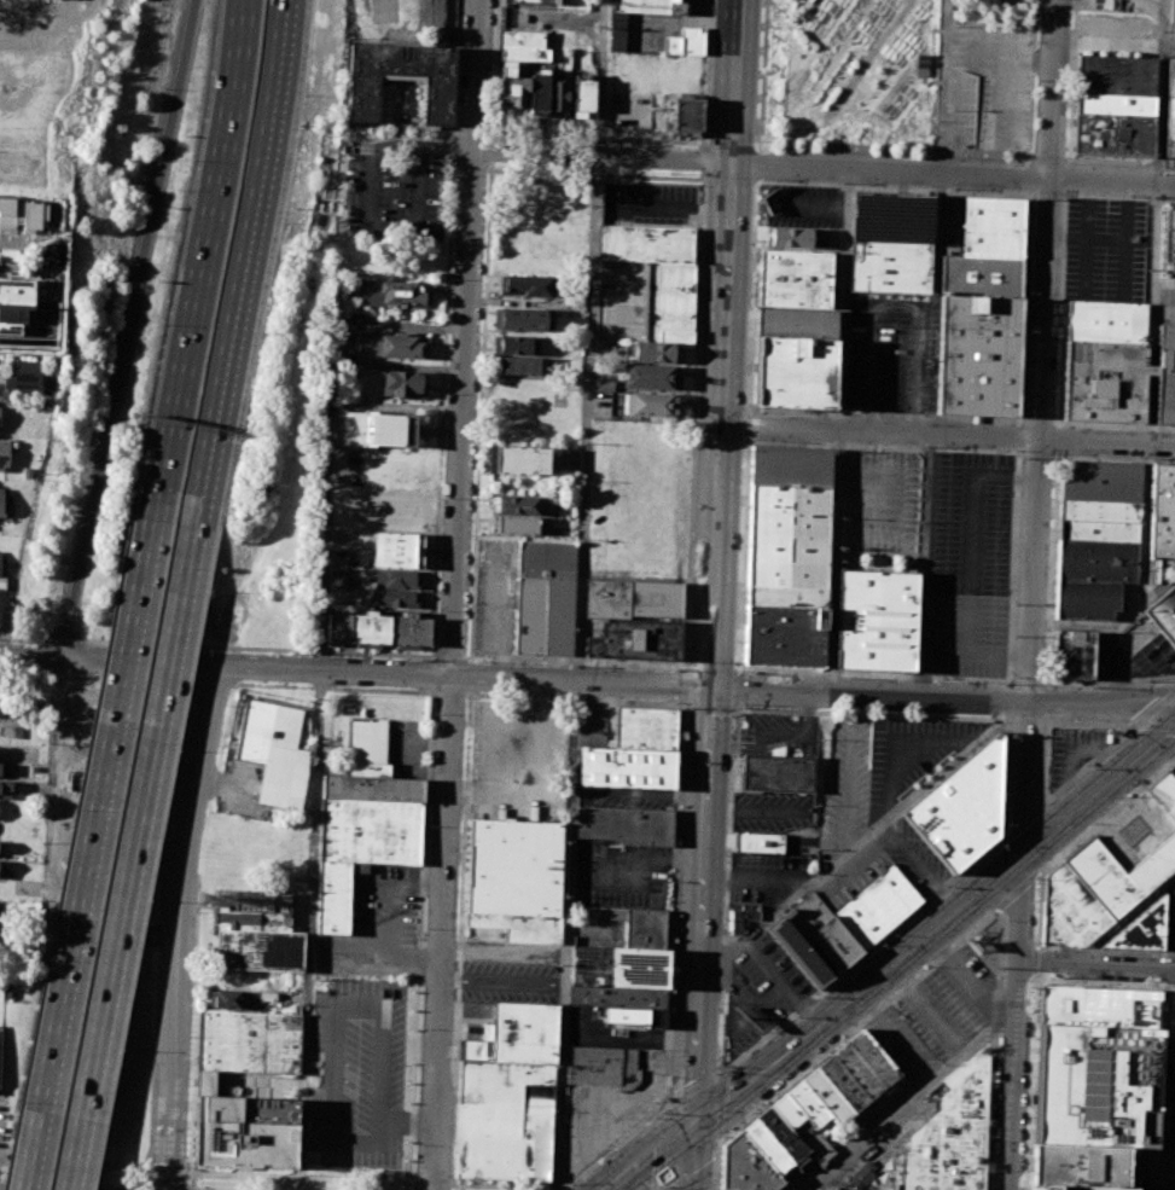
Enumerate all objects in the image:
building: (535, 1)
road: (1016, 1)
building: (655, 6)
building: (1173, 11)
parking lot: (1113, 23)
road: (798, 25)
street lamp: (763, 28)
building: (523, 39)
building: (686, 41)
parking lot: (1117, 46)
parking lot: (1173, 50)
road: (814, 51)
building: (524, 53)
road: (824, 70)
park: (851, 70)
road: (708, 74)
building: (1116, 75)
parking lot: (990, 81)
road: (1031, 81)
building: (511, 86)
road: (942, 86)
building: (537, 91)
road: (1161, 92)
building: (558, 95)
building: (583, 95)
building: (363, 99)
street lamp: (459, 99)
road: (600, 103)
building: (1113, 104)
building: (687, 114)
building: (1170, 114)
road: (1070, 130)
building: (1112, 133)
road: (534, 134)
road: (494, 135)
street lamp: (757, 141)
road: (779, 143)
road: (761, 146)
road: (493, 150)
road: (987, 151)
road: (1049, 155)
road: (604, 158)
road: (1069, 158)
road: (705, 163)
road: (491, 166)
road: (757, 166)
road: (954, 174)
road: (1028, 175)
street lamp: (455, 176)
road: (1068, 176)
road: (758, 181)
street lamp: (756, 187)
parking lot: (391, 188)
road: (1029, 193)
road: (1047, 193)
road: (1066, 195)
road: (365, 201)
parking lot: (651, 203)
road: (210, 210)
road: (681, 210)
building: (21, 215)
parking lot: (953, 221)
building: (993, 227)
building: (793, 237)
road: (1086, 238)
road: (1083, 240)
road: (1124, 242)
building: (1168, 242)
building: (648, 243)
building: (894, 243)
road: (249, 249)
parking lot: (1106, 249)
building: (795, 279)
street lamp: (450, 280)
building: (525, 285)
parking lot: (1167, 291)
building: (405, 292)
building: (621, 300)
parking garage: (621, 300)
road: (845, 300)
building: (670, 301)
road: (895, 303)
building: (13, 307)
road: (1063, 310)
building: (522, 318)
building: (348, 319)
building: (1105, 321)
building: (796, 324)
road: (447, 327)
road: (128, 329)
building: (514, 344)
building: (405, 347)
building: (652, 352)
parking lot: (894, 355)
building: (977, 356)
building: (519, 365)
building: (1164, 366)
building: (795, 372)
building: (22, 376)
building: (647, 376)
building: (1103, 381)
building: (403, 384)
building: (605, 385)
street lamp: (447, 390)
building: (650, 404)
street lamp: (746, 404)
road: (749, 411)
road: (481, 416)
road: (588, 419)
road: (1035, 420)
road: (1059, 422)
road: (694, 425)
road: (749, 425)
building: (353, 428)
building: (389, 429)
road: (949, 435)
road: (1018, 436)
road: (748, 439)
road: (1059, 439)
street lamp: (755, 443)
street lamp: (744, 449)
building: (4, 453)
road: (1034, 453)
road: (1057, 455)
building: (522, 459)
street lamp: (1135, 462)
street lamp: (442, 499)
building: (0, 501)
building: (1100, 501)
road: (157, 503)
building: (517, 504)
road: (327, 507)
building: (1157, 511)
parking lot: (971, 523)
building: (519, 524)
road: (972, 533)
street lamp: (740, 544)
parking lot: (941, 546)
building: (394, 550)
building: (791, 555)
building: (0, 558)
building: (1098, 562)
road: (716, 564)
road: (925, 565)
road: (1052, 573)
building: (337, 577)
building: (396, 579)
parking lot: (1173, 586)
road: (455, 594)
road: (1031, 594)
parking lot: (496, 596)
building: (546, 597)
building: (399, 598)
building: (607, 598)
building: (655, 599)
building: (1087, 599)
street lamp: (58, 611)
street lamp: (437, 611)
building: (1163, 614)
building: (874, 620)
building: (378, 628)
road: (21, 638)
building: (635, 639)
road: (62, 640)
street lamp: (735, 640)
road: (258, 648)
street lamp: (207, 650)
road: (976, 652)
building: (1074, 652)
street lamp: (313, 654)
road: (30, 656)
road: (449, 656)
street lamp: (402, 657)
road: (470, 657)
street lamp: (478, 662)
street lamp: (569, 664)
road: (711, 668)
road: (738, 668)
street lamp: (671, 669)
road: (738, 669)
street lamp: (750, 673)
road: (432, 674)
road: (471, 677)
road: (97, 678)
street lamp: (843, 678)
road: (618, 683)
road: (213, 684)
road: (331, 687)
traffic signals: (710, 687)
road: (737, 687)
road: (682, 689)
road: (447, 692)
road: (469, 693)
building: (0, 695)
road: (685, 706)
road: (709, 707)
road: (1154, 707)
street lamp: (226, 708)
street lamp: (732, 714)
road: (888, 714)
street lamp: (432, 715)
parking lot: (593, 725)
road: (1153, 726)
building: (645, 727)
parking lot: (517, 742)
road: (776, 744)
road: (1168, 744)
building: (366, 747)
parking lot: (406, 748)
building: (8, 750)
building: (275, 751)
parking lot: (1071, 751)
road: (1074, 751)
parking lot: (909, 756)
building: (627, 766)
building: (2, 770)
parking lot: (1173, 771)
building: (778, 773)
parking lot: (849, 776)
road: (1043, 776)
building: (5, 785)
building: (372, 788)
parking lot: (242, 789)
building: (1164, 793)
parking lot: (626, 794)
street lamp: (1128, 794)
road: (1046, 802)
building: (961, 809)
street lamp: (207, 813)
road: (1104, 815)
road: (1024, 818)
building: (626, 823)
street lamp: (1093, 824)
street lamp: (728, 826)
street lamp: (427, 829)
parking lot: (1135, 831)
road: (1004, 835)
road: (135, 843)
building: (758, 844)
building: (1, 846)
building: (360, 848)
building: (31, 855)
building: (0, 869)
parking lot: (621, 873)
building: (514, 877)
road: (743, 881)
parking lot: (764, 881)
road: (83, 888)
building: (1097, 890)
road: (1014, 893)
street lamp: (1035, 905)
building: (877, 907)
road: (1036, 909)
building: (255, 912)
street lamp: (194, 913)
building: (743, 919)
road: (1123, 921)
road: (159, 923)
building: (633, 923)
road: (175, 924)
parking lot: (376, 925)
street lamp: (1034, 928)
road: (309, 929)
road: (937, 929)
building: (1140, 930)
street lamp: (424, 931)
building: (821, 931)
road: (566, 935)
building: (258, 950)
street lamp: (1058, 951)
building: (797, 953)
street lamp: (1128, 953)
road: (1034, 963)
road: (1097, 965)
building: (638, 966)
street lamp: (926, 966)
building: (229, 979)
parking lot: (508, 981)
street lamp: (1002, 981)
street lamp: (1058, 981)
street lamp: (1087, 983)
street lamp: (1111, 986)
street lamp: (1138, 987)
street lamp: (1034, 993)
building: (616, 995)
building: (227, 998)
parking lot: (949, 1003)
street lamp: (1033, 1016)
building: (633, 1017)
road: (857, 1026)
road: (193, 1027)
street lamp: (420, 1031)
building: (485, 1032)
building: (523, 1032)
parking lot: (606, 1032)
road: (763, 1037)
building: (0, 1038)
street lamp: (190, 1039)
building: (249, 1040)
road: (415, 1045)
building: (475, 1050)
building: (874, 1057)
street lamp: (723, 1066)
building: (603, 1067)
building: (1098, 1067)
parking lot: (355, 1070)
building: (860, 1070)
street lamp: (1030, 1079)
street lamp: (1000, 1080)
building: (844, 1082)
road: (1029, 1085)
road: (691, 1090)
building: (828, 1096)
road: (1170, 1097)
road: (909, 1098)
building: (809, 1103)
road: (719, 1108)
parking lot: (609, 1110)
street lamp: (656, 1118)
building: (504, 1120)
building: (804, 1127)
traffic signals: (694, 1130)
building: (244, 1132)
building: (784, 1133)
building: (952, 1136)
street lamp: (414, 1148)
road: (661, 1148)
building: (770, 1148)
road: (452, 1154)
street lamp: (1026, 1157)
road: (652, 1159)
road: (694, 1160)
road: (105, 1165)
road: (688, 1165)
street lamp: (184, 1166)
road: (719, 1166)
building: (748, 1166)
building: (1078, 1168)
street lamp: (995, 1169)
road: (142, 1178)
road: (413, 1183)
road: (434, 1183)
street lamp: (571, 1184)
road: (411, 1186)
street lamp: (659, 1188)
street lamp: (1024, 1188)
road: (657, 1189)

